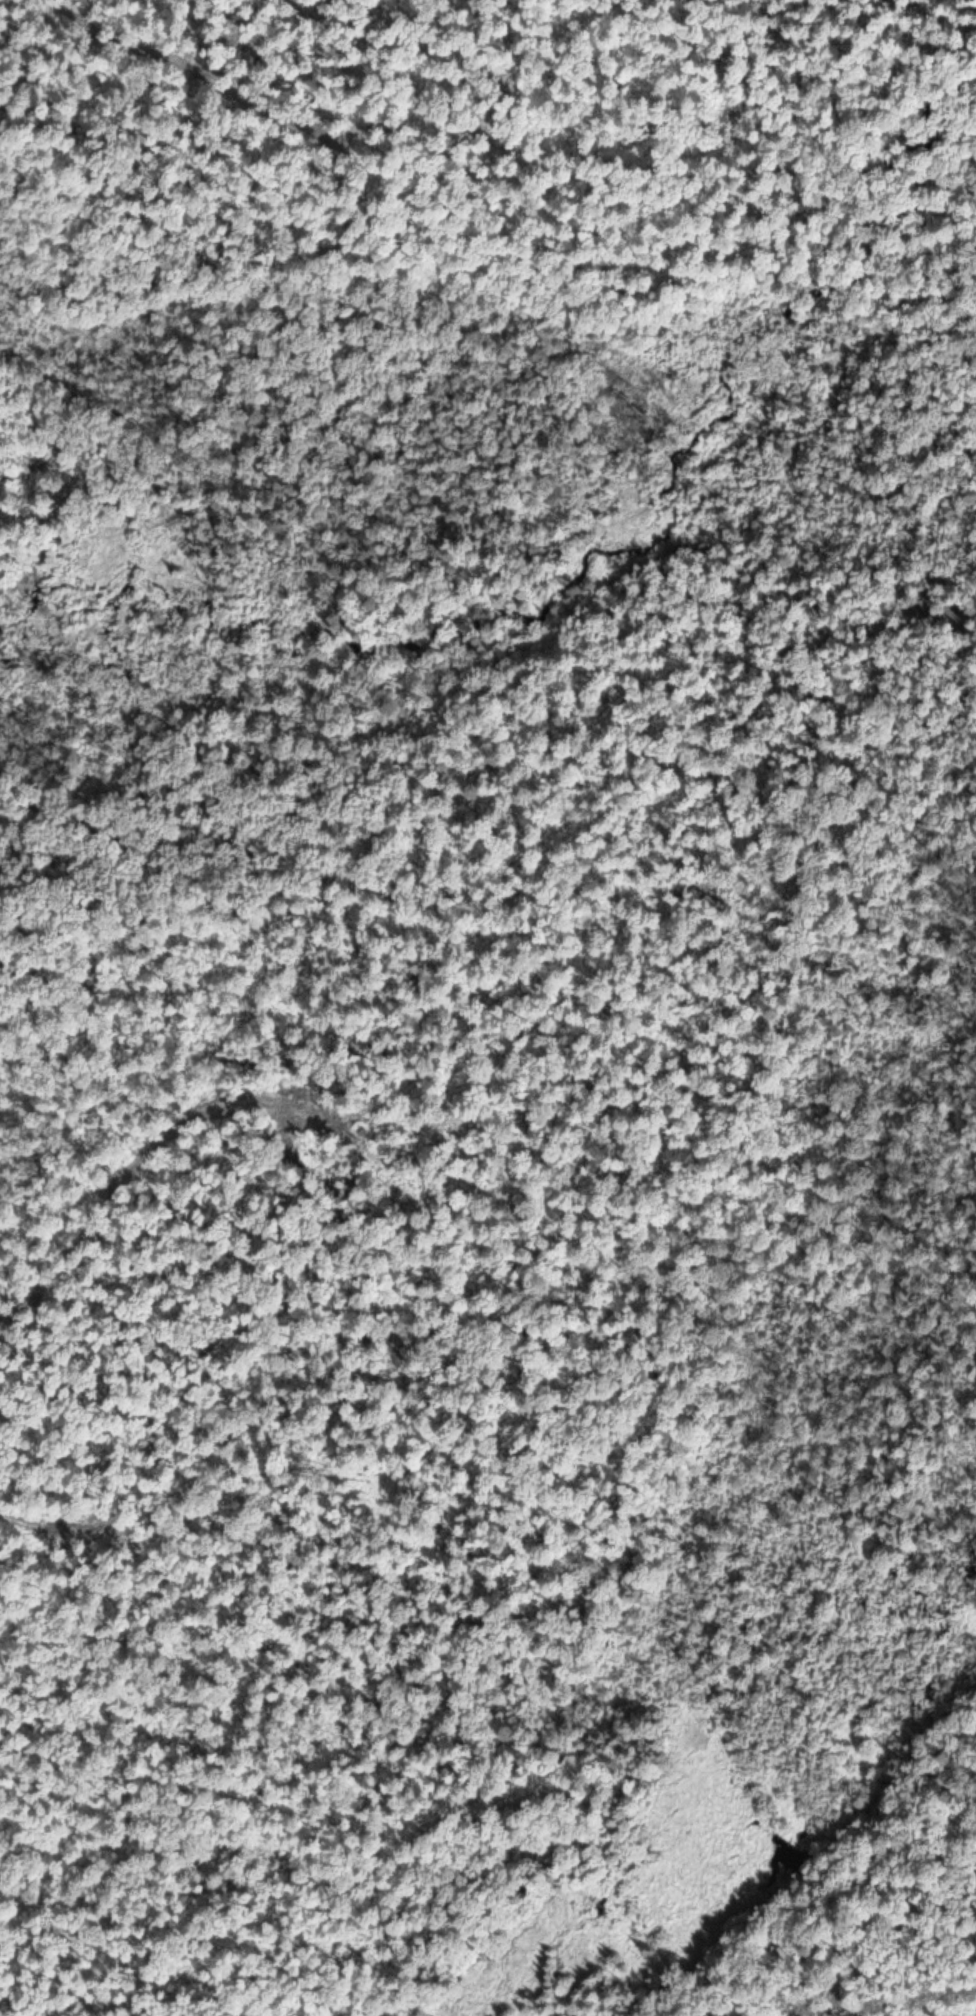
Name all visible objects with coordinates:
river: (779, 1818)

